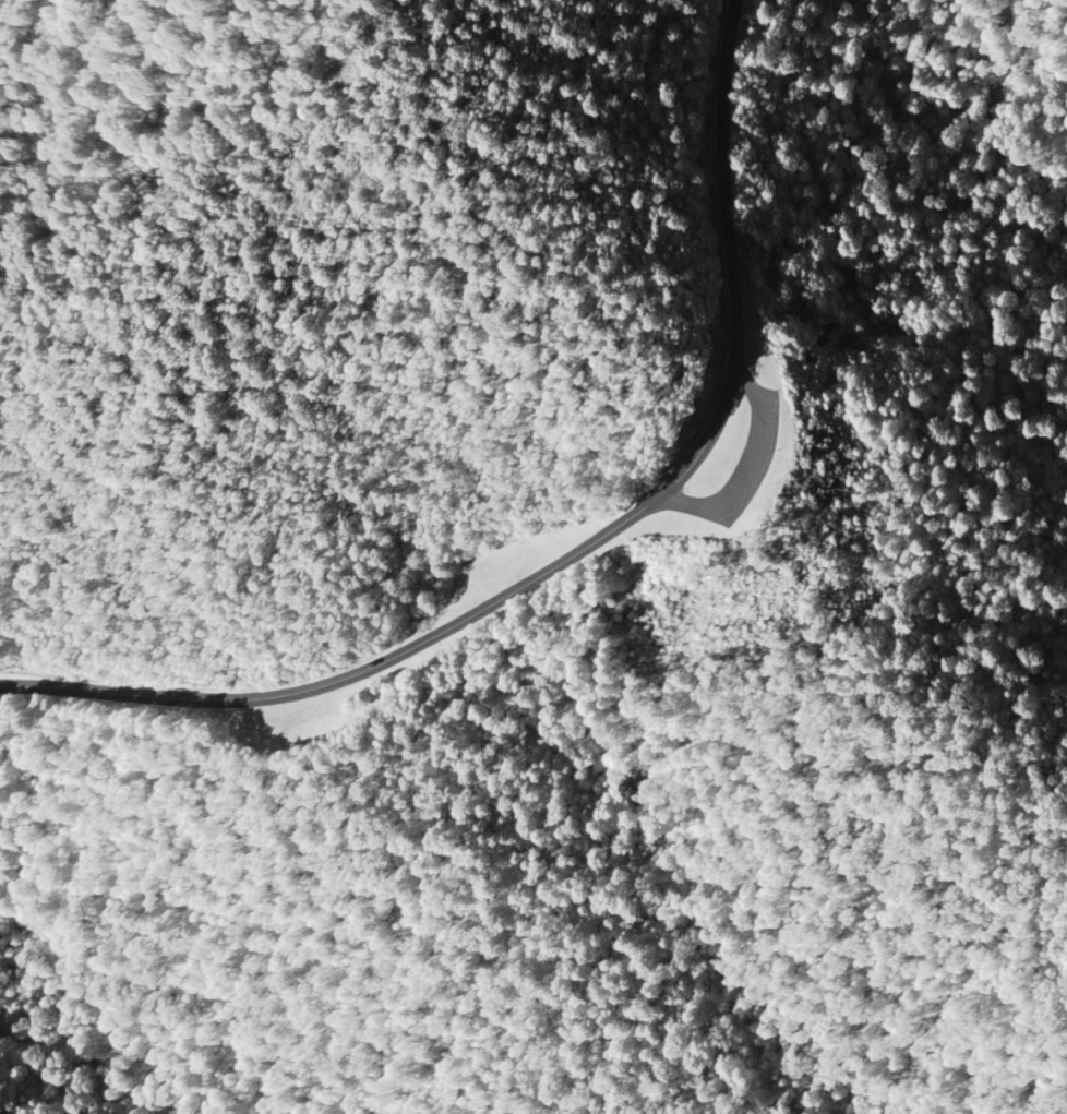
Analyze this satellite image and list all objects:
road: (751, 468)
road: (580, 552)

